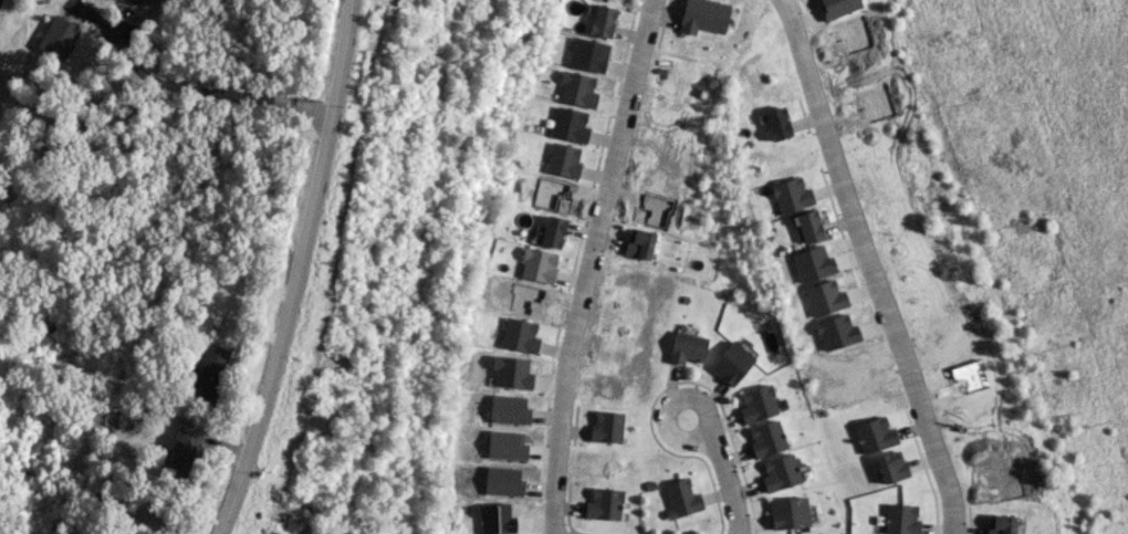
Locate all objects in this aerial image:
building: (134, 1)
building: (843, 7)
building: (702, 17)
building: (598, 21)
building: (59, 36)
building: (584, 54)
building: (573, 90)
road: (212, 92)
building: (782, 124)
building: (566, 125)
building: (560, 159)
building: (797, 195)
building: (816, 227)
building: (550, 231)
building: (639, 243)
road: (588, 264)
road: (875, 264)
building: (535, 265)
road: (299, 270)
building: (516, 336)
building: (690, 348)
building: (738, 363)
building: (209, 373)
building: (763, 404)
building: (505, 409)
road: (709, 409)
building: (608, 427)
building: (876, 434)
building: (773, 439)
building: (503, 446)
building: (181, 453)
building: (891, 467)
building: (785, 473)
road: (734, 484)
building: (687, 499)
building: (606, 504)
building: (793, 512)
building: (900, 519)
building: (998, 524)

